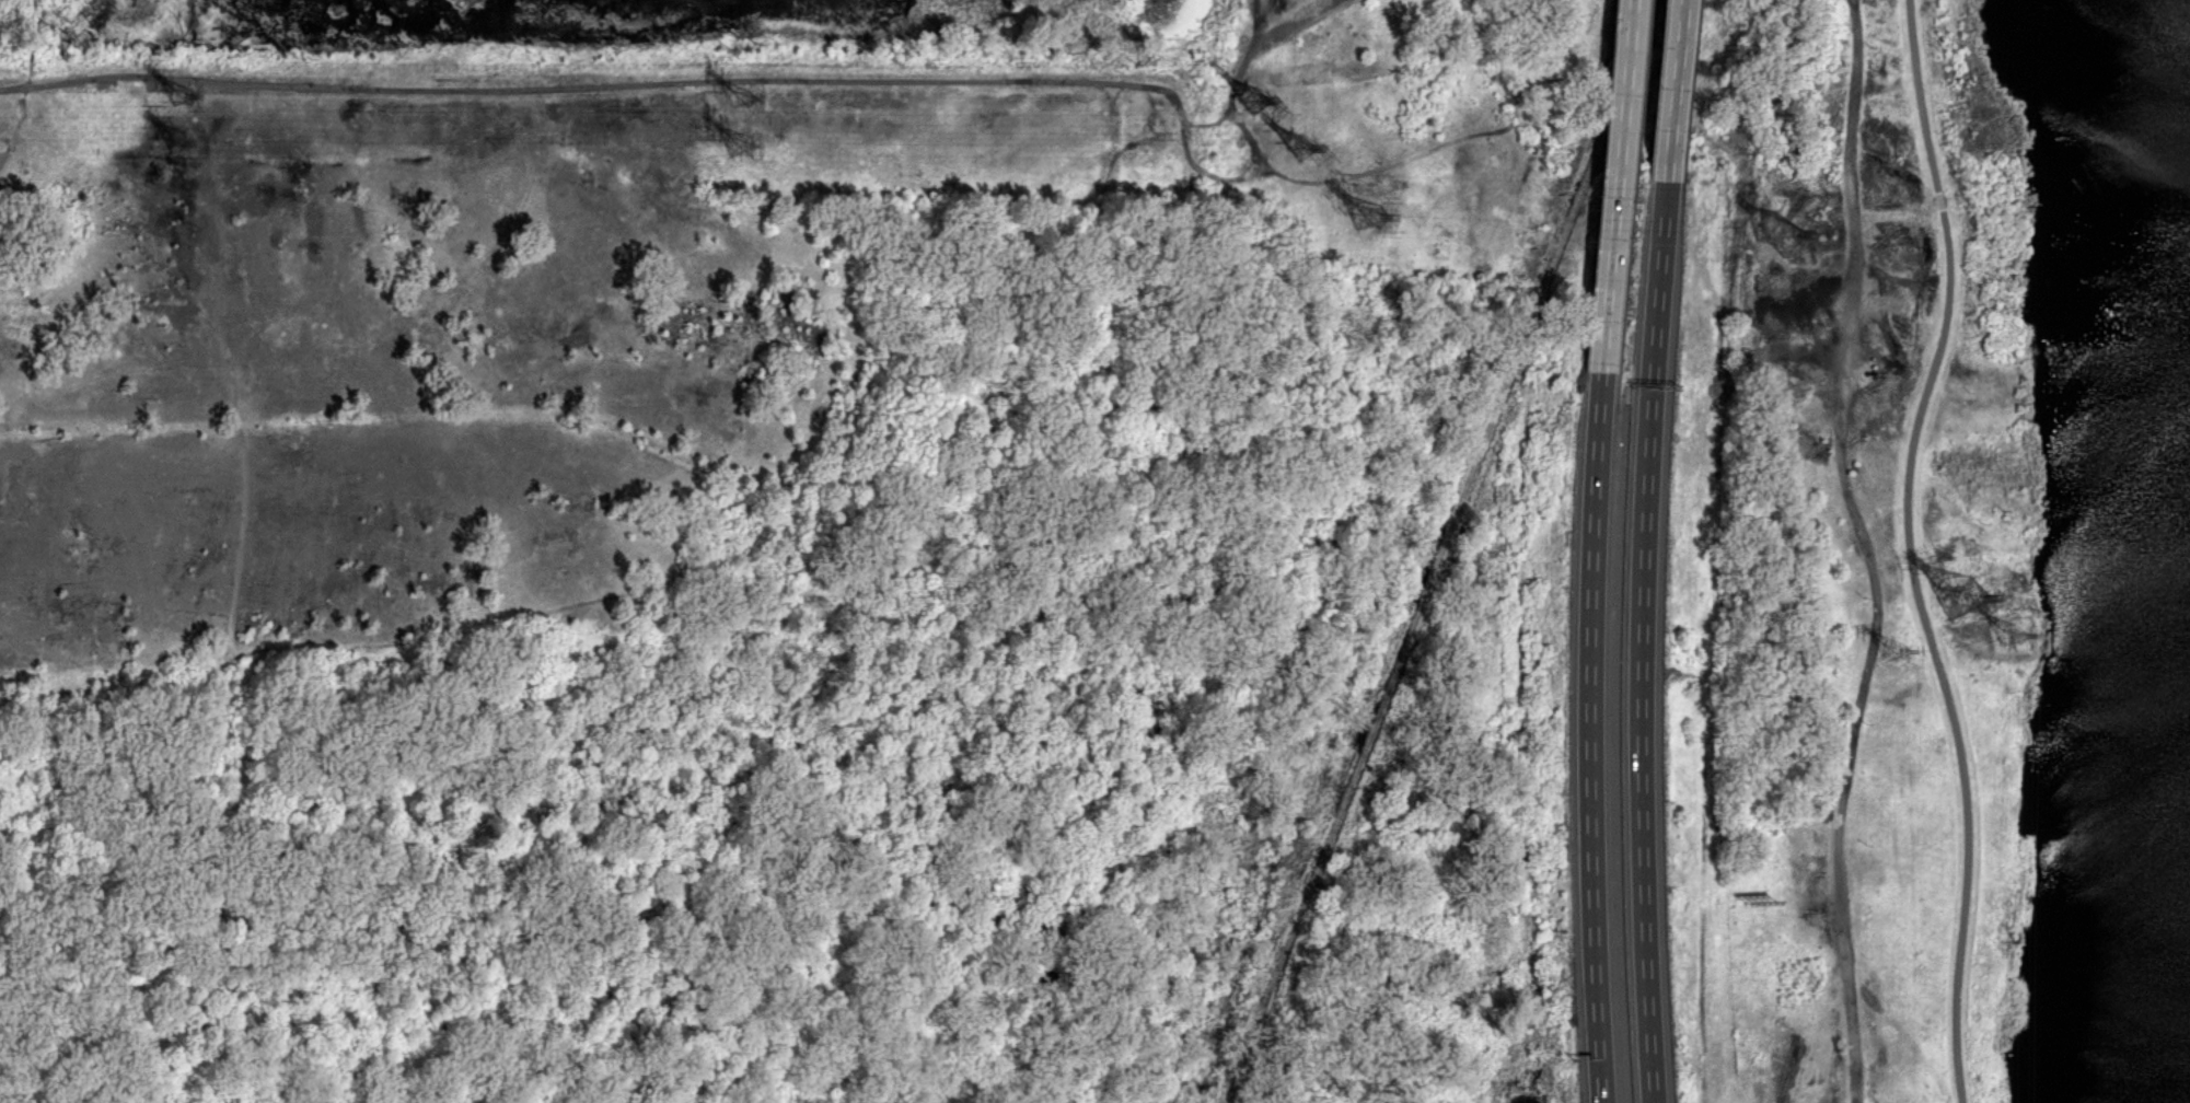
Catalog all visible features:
road: (24, 88)
road: (1679, 90)
road: (1917, 94)
power tower: (1250, 100)
power tower: (189, 103)
power tower: (746, 103)
power tower: (1302, 146)
power tower: (186, 150)
power tower: (749, 150)
road: (1618, 186)
road: (1939, 198)
power tower: (1374, 212)
power tower: (1782, 233)
road: (1662, 297)
road: (1599, 451)
road: (1872, 550)
railway: (1444, 551)
power tower: (1965, 601)
power tower: (2013, 641)
power tower: (1900, 653)
road: (1932, 653)
road: (1644, 758)
road: (1592, 817)

